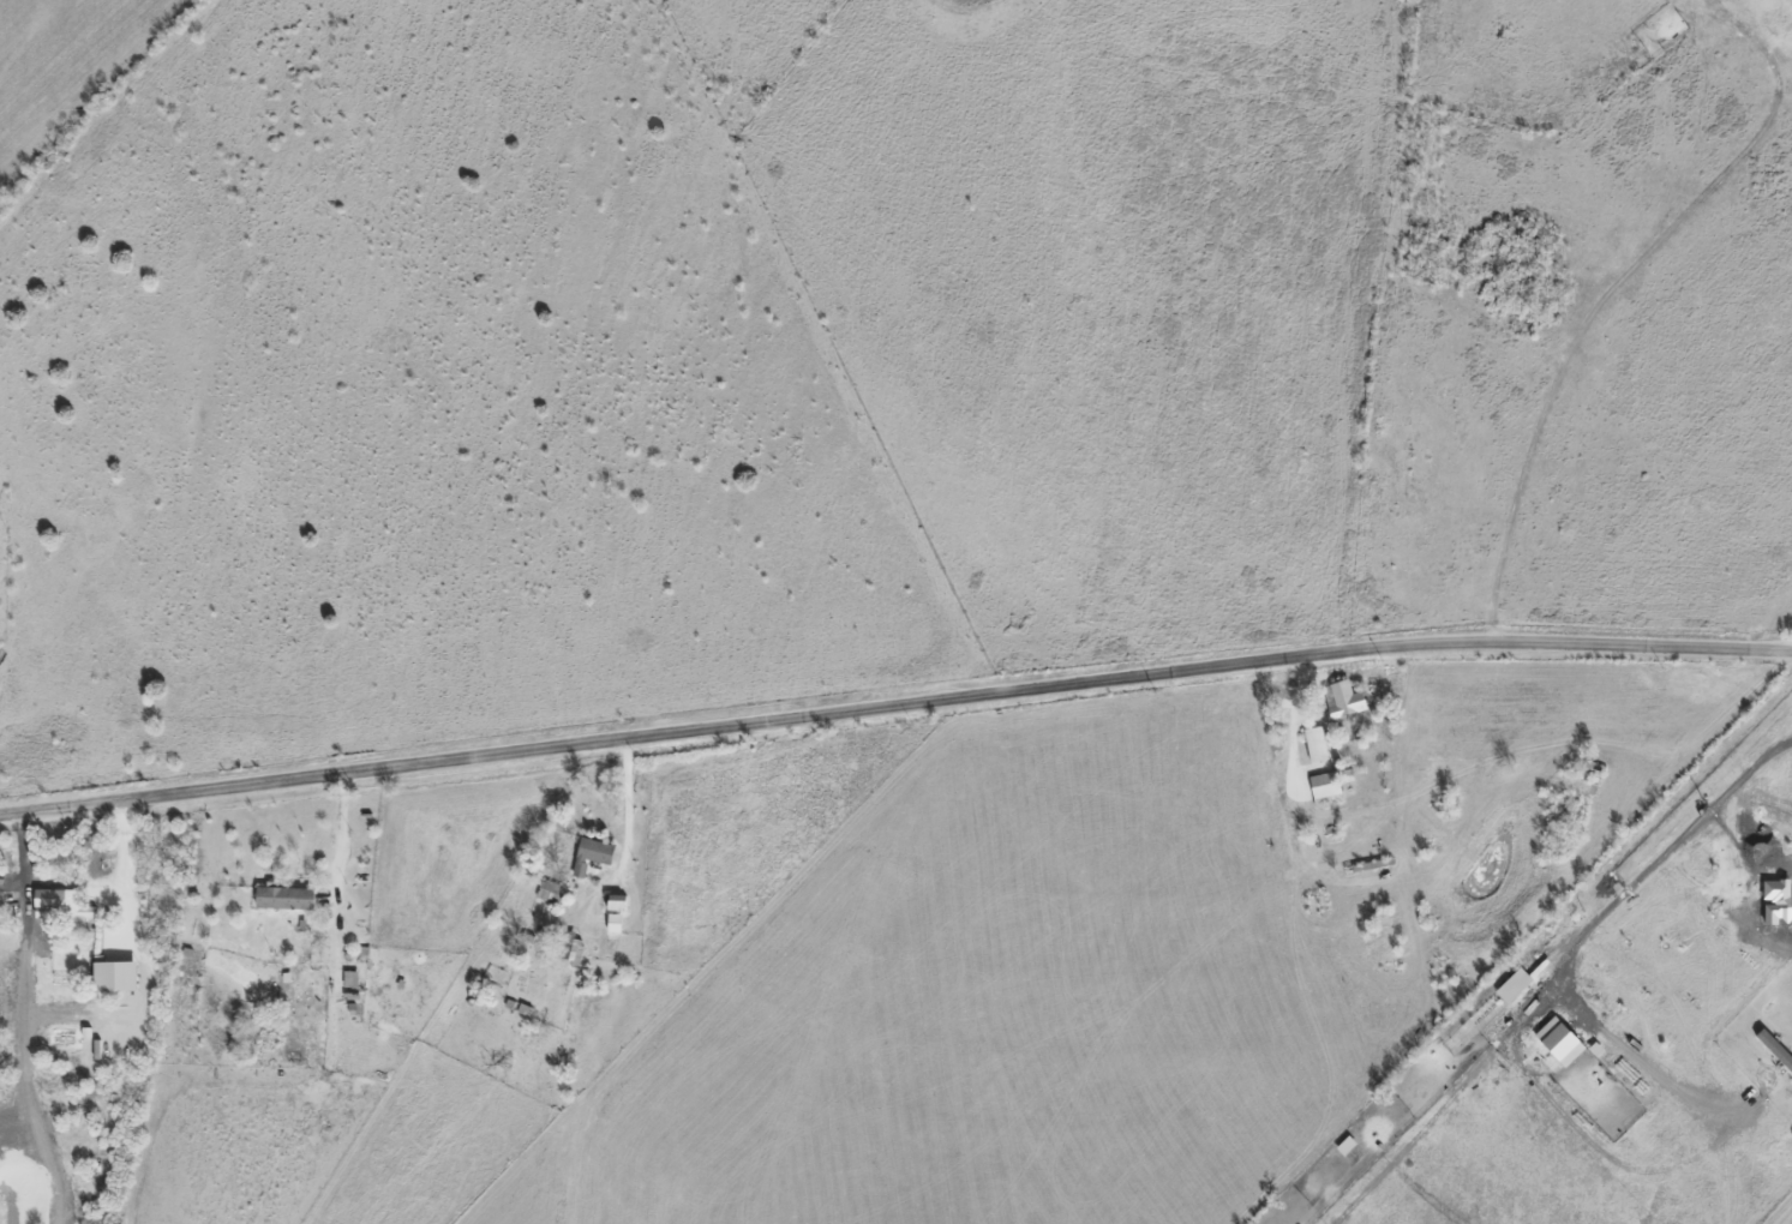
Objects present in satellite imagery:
building: (1343, 700)
road: (894, 708)
building: (1314, 744)
building: (1323, 785)
road: (625, 832)
road: (341, 835)
building: (594, 851)
road: (128, 866)
building: (281, 898)
building: (61, 907)
road: (1586, 932)
building: (569, 948)
building: (113, 977)
building: (1511, 985)
building: (1557, 1040)
building: (1773, 1049)

